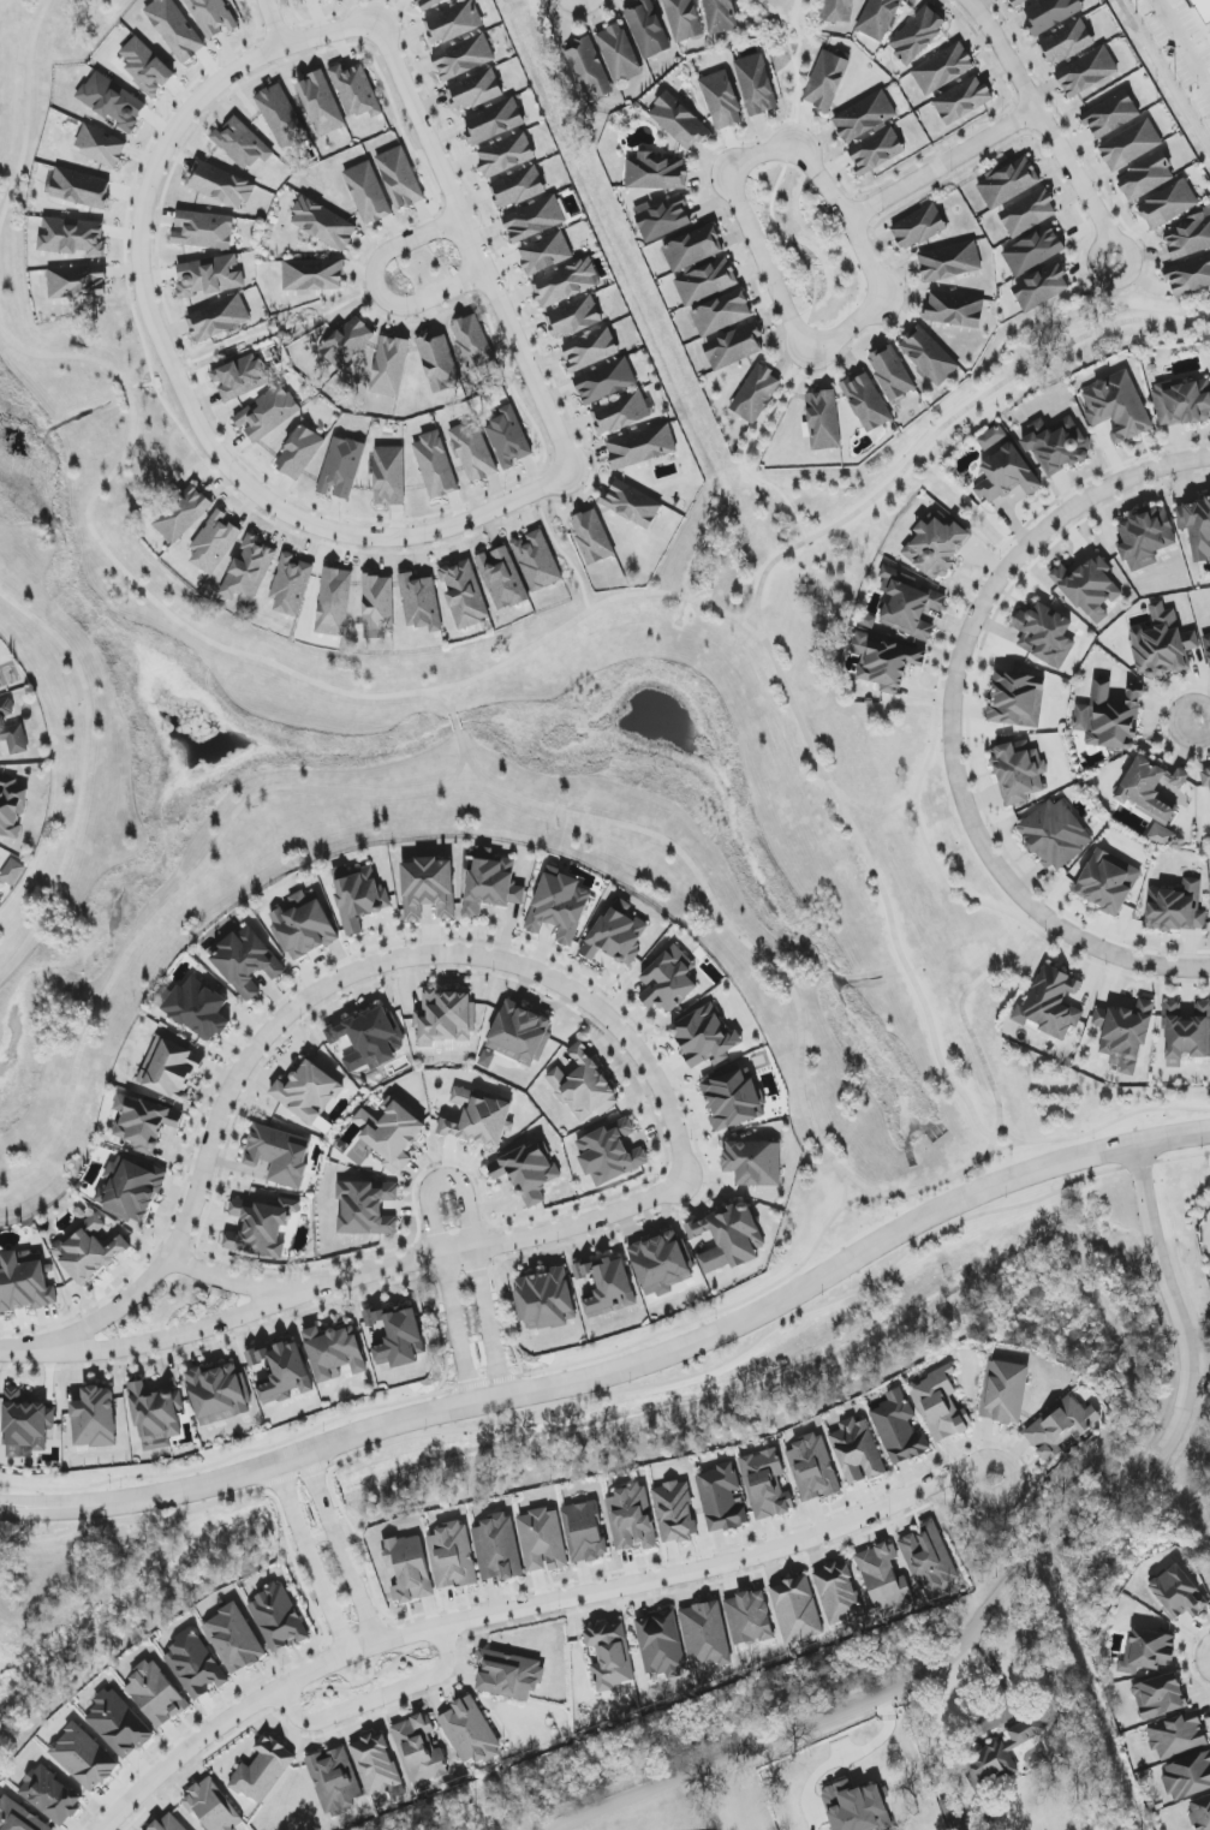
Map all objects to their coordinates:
building: (305, 0)
building: (453, 0)
building: (1019, 2)
building: (429, 4)
building: (1204, 8)
building: (839, 11)
building: (1050, 14)
building: (213, 16)
building: (721, 16)
building: (878, 18)
building: (684, 19)
road: (252, 20)
road: (580, 20)
road: (278, 23)
building: (453, 23)
building: (174, 29)
building: (648, 29)
building: (917, 35)
road: (261, 38)
building: (1066, 42)
building: (619, 53)
building: (464, 56)
building: (145, 67)
building: (589, 70)
building: (943, 70)
building: (1086, 72)
road: (25, 78)
building: (825, 81)
building: (756, 84)
building: (356, 90)
building: (473, 90)
building: (721, 100)
building: (962, 100)
building: (112, 101)
building: (321, 102)
building: (1110, 114)
building: (281, 117)
building: (864, 117)
building: (494, 121)
building: (679, 121)
road: (1045, 126)
building: (242, 144)
building: (1131, 144)
building: (101, 145)
building: (876, 150)
building: (506, 155)
road: (941, 163)
building: (656, 173)
road: (781, 173)
building: (400, 178)
building: (1145, 178)
building: (1008, 183)
building: (220, 185)
building: (518, 187)
building: (81, 189)
road: (10, 192)
building: (368, 193)
building: (1168, 204)
building: (1029, 213)
road: (159, 216)
building: (535, 219)
building: (662, 219)
building: (323, 225)
building: (918, 227)
building: (203, 230)
building: (1190, 236)
building: (72, 237)
road: (477, 244)
building: (693, 249)
building: (1033, 251)
building: (546, 254)
building: (950, 262)
road: (768, 269)
road: (123, 272)
building: (314, 275)
building: (209, 276)
building: (1188, 276)
road: (159, 278)
building: (78, 281)
building: (707, 281)
building: (566, 282)
road: (377, 287)
building: (1041, 287)
road: (1116, 293)
building: (955, 310)
building: (721, 314)
building: (573, 317)
building: (219, 318)
road: (1049, 320)
road: (285, 326)
road: (175, 332)
road: (179, 338)
building: (347, 342)
building: (472, 342)
building: (733, 346)
building: (590, 350)
building: (928, 356)
road: (94, 359)
building: (439, 363)
building: (389, 366)
road: (175, 368)
building: (892, 374)
building: (240, 376)
road: (154, 381)
building: (606, 381)
road: (141, 385)
building: (756, 394)
building: (866, 403)
building: (1181, 403)
road: (207, 404)
building: (1117, 407)
building: (621, 412)
building: (267, 413)
road: (955, 416)
building: (823, 419)
road: (573, 424)
building: (991, 437)
building: (508, 439)
road: (749, 446)
building: (1056, 446)
building: (642, 447)
road: (234, 448)
building: (473, 451)
road: (586, 452)
building: (299, 453)
building: (435, 465)
building: (341, 469)
road: (588, 473)
building: (389, 475)
building: (1007, 476)
road: (221, 484)
road: (100, 489)
road: (570, 493)
building: (632, 503)
building: (183, 514)
road: (1029, 521)
building: (1197, 527)
building: (592, 537)
building: (1145, 538)
building: (214, 543)
building: (936, 547)
road: (560, 553)
building: (537, 560)
building: (250, 571)
building: (502, 578)
building: (291, 585)
building: (1089, 588)
building: (464, 594)
road: (612, 598)
building: (334, 602)
building: (421, 602)
building: (908, 603)
building: (379, 606)
road: (745, 615)
road: (195, 633)
building: (1044, 634)
building: (1163, 645)
building: (1206, 646)
building: (884, 662)
building: (0, 686)
road: (416, 692)
road: (917, 693)
building: (1017, 699)
road: (447, 707)
road: (451, 711)
building: (1109, 719)
road: (953, 720)
road: (1200, 721)
road: (453, 722)
building: (12, 729)
road: (459, 741)
road: (464, 755)
road: (815, 758)
building: (1018, 771)
road: (83, 776)
building: (1205, 777)
building: (1151, 795)
building: (11, 806)
road: (626, 825)
road: (923, 834)
building: (1054, 835)
building: (12, 872)
building: (491, 882)
building: (1108, 882)
building: (429, 888)
building: (358, 896)
building: (560, 905)
building: (1176, 908)
building: (304, 925)
building: (616, 937)
building: (246, 961)
road: (1111, 970)
road: (907, 971)
building: (669, 980)
road: (326, 985)
building: (1051, 1003)
building: (198, 1009)
building: (446, 1017)
building: (1186, 1033)
building: (520, 1035)
building: (1125, 1035)
building: (705, 1037)
building: (370, 1039)
building: (487, 1059)
building: (171, 1069)
building: (584, 1086)
building: (308, 1092)
building: (732, 1099)
building: (478, 1119)
building: (144, 1122)
road: (1097, 1128)
building: (392, 1133)
road: (1006, 1134)
building: (610, 1154)
building: (280, 1155)
building: (753, 1163)
building: (527, 1173)
road: (442, 1184)
building: (130, 1188)
road: (844, 1203)
building: (366, 1208)
building: (261, 1227)
building: (729, 1238)
building: (89, 1251)
building: (661, 1264)
road: (347, 1280)
road: (227, 1281)
building: (24, 1282)
building: (608, 1287)
building: (544, 1300)
road: (674, 1327)
building: (398, 1336)
building: (334, 1353)
building: (255, 1358)
road: (621, 1369)
building: (285, 1373)
road: (624, 1391)
building: (1005, 1393)
building: (219, 1394)
building: (940, 1406)
building: (156, 1415)
building: (95, 1418)
building: (25, 1425)
building: (1060, 1427)
building: (899, 1429)
building: (857, 1452)
road: (237, 1454)
building: (813, 1468)
building: (765, 1484)
building: (722, 1498)
building: (674, 1512)
building: (632, 1519)
building: (584, 1532)
building: (542, 1540)
road: (341, 1548)
building: (497, 1548)
building: (452, 1556)
road: (311, 1558)
building: (928, 1558)
building: (409, 1568)
building: (884, 1579)
road: (1009, 1586)
building: (1178, 1593)
building: (839, 1594)
road: (530, 1605)
building: (797, 1610)
building: (278, 1619)
building: (749, 1619)
road: (1197, 1627)
building: (705, 1635)
building: (234, 1639)
building: (661, 1645)
building: (1148, 1651)
road: (1193, 1653)
building: (610, 1656)
building: (195, 1665)
building: (508, 1675)
road: (370, 1680)
road: (1199, 1692)
building: (155, 1694)
building: (1160, 1697)
road: (377, 1698)
road: (1206, 1715)
building: (119, 1724)
building: (470, 1731)
building: (1176, 1736)
building: (419, 1749)
building: (997, 1757)
building: (83, 1758)
building: (375, 1764)
building: (263, 1770)
building: (1188, 1776)
building: (335, 1781)
building: (50, 1795)
building: (213, 1807)
building: (857, 1807)
building: (953, 1812)
building: (1200, 1813)
building: (18, 1817)
building: (168, 1823)

